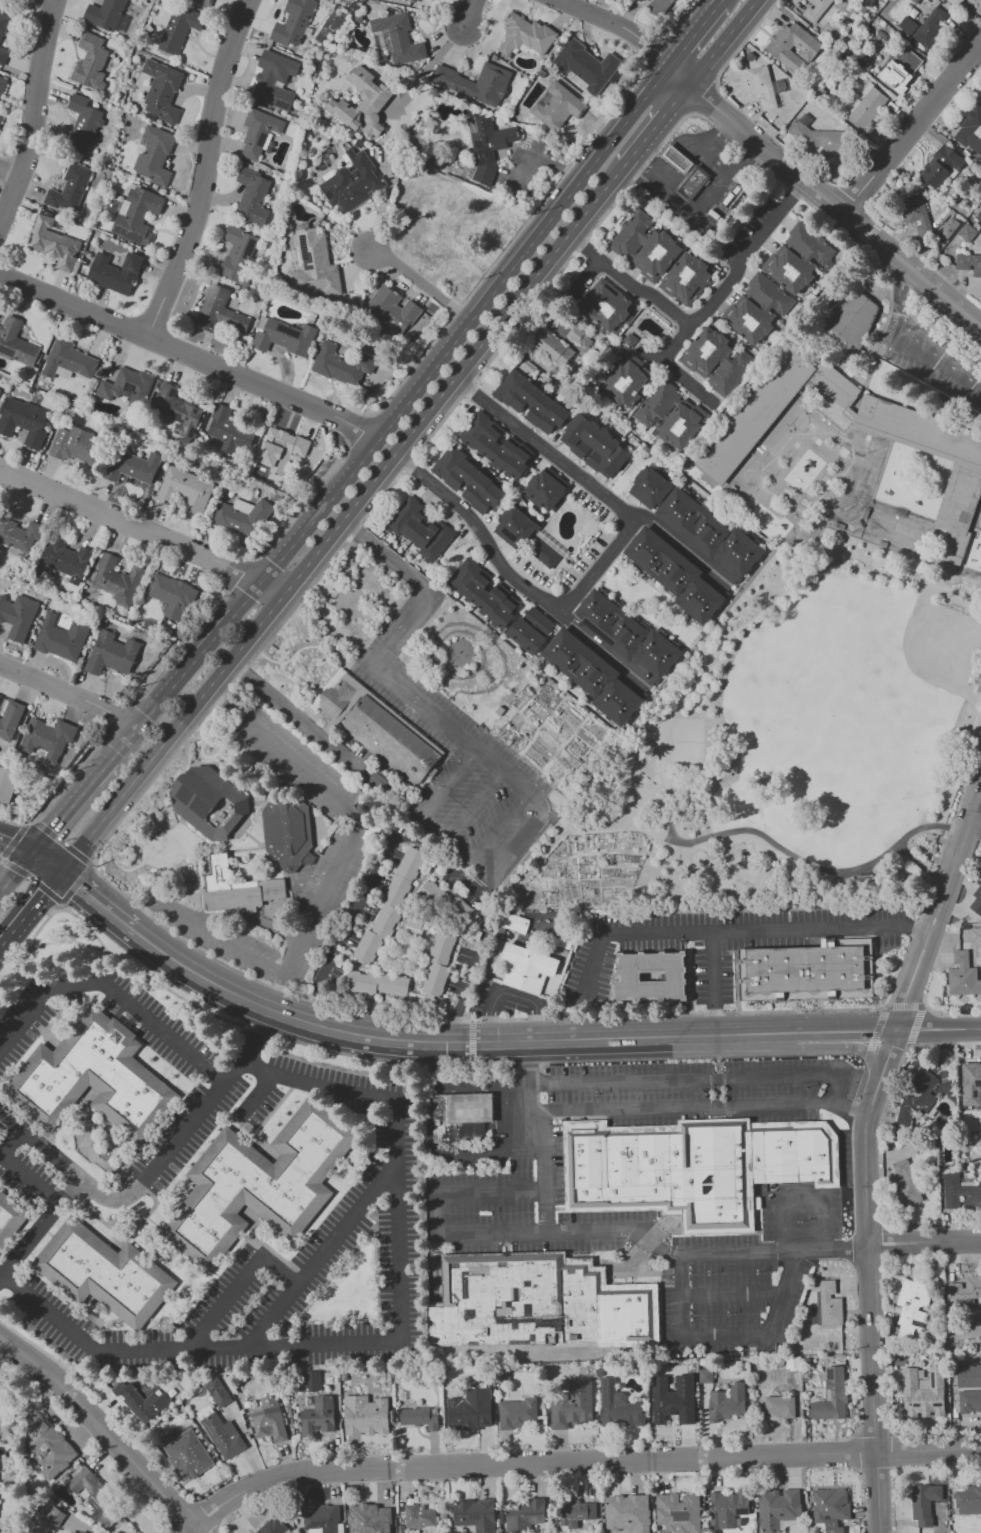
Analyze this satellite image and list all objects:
building: (970, 0)
building: (411, 1)
building: (204, 2)
building: (955, 2)
building: (660, 5)
building: (815, 9)
building: (104, 14)
road: (477, 16)
building: (3, 23)
building: (293, 23)
building: (907, 25)
building: (930, 28)
road: (630, 31)
road: (694, 31)
building: (525, 35)
building: (399, 37)
road: (722, 41)
road: (737, 46)
building: (792, 46)
building: (3, 55)
building: (90, 62)
building: (587, 65)
road: (427, 67)
building: (900, 69)
building: (274, 80)
building: (475, 82)
building: (2, 83)
building: (764, 86)
building: (161, 91)
building: (361, 103)
rooftop solar panel: (281, 104)
building: (557, 106)
road: (713, 106)
building: (866, 106)
building: (0, 120)
road: (657, 122)
building: (82, 123)
road: (25, 124)
rooftop solar panel: (486, 125)
rooftop solar panel: (472, 126)
building: (971, 131)
building: (258, 133)
rooftop solar panel: (261, 139)
rooftop solar panel: (510, 139)
building: (821, 140)
road: (919, 141)
rooftop solar panel: (477, 144)
building: (487, 144)
rooftop solar panel: (498, 144)
rooftop solar panel: (504, 145)
rooftop solar panel: (479, 152)
rooftop solar panel: (487, 153)
building: (154, 156)
building: (676, 159)
rooftop solar panel: (480, 161)
rooftop solar panel: (356, 162)
building: (940, 166)
road: (205, 169)
road: (6, 176)
building: (352, 182)
building: (691, 183)
building: (69, 189)
rooftop solar panel: (322, 189)
road: (570, 192)
rooftop solar panel: (329, 194)
rooftop solar panel: (342, 196)
building: (252, 197)
road: (835, 202)
rooftop solar panel: (341, 204)
building: (915, 213)
building: (137, 215)
rooftop solar panel: (116, 229)
rooftop solar panel: (122, 230)
rooftop solar panel: (131, 237)
building: (53, 243)
rooftop solar panel: (251, 244)
rooftop solar panel: (302, 245)
building: (644, 246)
building: (238, 253)
rooftop solar panel: (134, 256)
building: (797, 258)
rooftop solar panel: (125, 260)
rooftop solar panel: (305, 262)
building: (969, 263)
rooftop solar panel: (139, 264)
building: (313, 264)
rooftop solar panel: (130, 268)
road: (736, 268)
building: (114, 272)
road: (591, 276)
building: (686, 279)
road: (630, 281)
road: (423, 284)
building: (606, 305)
building: (392, 308)
building: (756, 308)
building: (219, 312)
building: (849, 321)
rooftop solar panel: (288, 330)
building: (282, 336)
road: (914, 339)
building: (16, 342)
building: (552, 347)
road: (186, 350)
parking lot: (933, 356)
building: (68, 359)
building: (716, 361)
building: (341, 364)
road: (454, 376)
road: (424, 378)
road: (692, 380)
building: (627, 381)
building: (125, 384)
building: (530, 401)
building: (177, 410)
building: (671, 415)
building: (23, 421)
building: (229, 430)
building: (75, 445)
building: (495, 445)
building: (594, 446)
building: (280, 449)
building: (956, 455)
building: (131, 466)
building: (467, 479)
building: (650, 488)
building: (184, 489)
building: (546, 489)
road: (320, 508)
road: (130, 524)
building: (515, 526)
building: (420, 529)
building: (709, 533)
park: (911, 534)
building: (19, 535)
road: (683, 544)
building: (543, 552)
building: (65, 558)
road: (594, 568)
building: (675, 575)
building: (116, 580)
road: (417, 581)
road: (273, 585)
building: (484, 592)
building: (171, 596)
building: (17, 616)
road: (754, 617)
road: (223, 624)
building: (530, 631)
building: (626, 634)
building: (61, 638)
road: (603, 649)
park: (918, 652)
building: (111, 653)
building: (592, 676)
road: (69, 693)
building: (0, 695)
road: (162, 695)
road: (435, 717)
building: (10, 719)
building: (380, 727)
road: (174, 730)
road: (127, 737)
building: (47, 738)
road: (328, 738)
park: (799, 740)
park: (687, 742)
parking lot: (457, 768)
road: (450, 783)
building: (6, 785)
rooftop solar panel: (183, 794)
road: (74, 801)
building: (214, 805)
road: (477, 805)
rooftop solar panel: (198, 806)
road: (975, 813)
road: (29, 822)
road: (354, 823)
road: (502, 826)
road: (605, 826)
road: (438, 828)
building: (290, 833)
road: (13, 840)
road: (523, 841)
road: (15, 843)
road: (61, 843)
road: (422, 844)
traffic signals: (32, 851)
road: (1, 859)
road: (47, 860)
road: (1, 862)
parking lot: (340, 864)
road: (531, 867)
road: (811, 868)
road: (921, 868)
traffic signals: (62, 869)
road: (16, 870)
road: (33, 880)
road: (489, 881)
road: (75, 883)
building: (236, 889)
road: (97, 897)
building: (976, 897)
road: (58, 904)
building: (449, 905)
road: (31, 907)
building: (388, 908)
road: (248, 917)
building: (519, 922)
road: (922, 928)
road: (205, 930)
road: (723, 930)
building: (975, 935)
road: (65, 942)
building: (567, 943)
building: (438, 962)
road: (715, 967)
building: (532, 969)
building: (814, 973)
building: (962, 975)
building: (655, 979)
building: (376, 983)
road: (114, 993)
road: (508, 994)
road: (204, 1009)
road: (716, 1020)
road: (942, 1030)
road: (849, 1033)
road: (471, 1042)
road: (450, 1043)
building: (95, 1080)
road: (658, 1081)
building: (970, 1083)
road: (256, 1094)
building: (916, 1097)
road: (701, 1107)
building: (463, 1118)
building: (0, 1130)
road: (540, 1138)
road: (872, 1148)
road: (493, 1152)
road: (156, 1167)
building: (697, 1168)
road: (18, 1171)
building: (262, 1184)
building: (905, 1184)
road: (803, 1195)
building: (11, 1220)
road: (42, 1230)
road: (578, 1234)
road: (887, 1238)
road: (941, 1241)
road: (887, 1247)
road: (322, 1257)
building: (106, 1274)
road: (1, 1280)
road: (1, 1281)
road: (236, 1287)
building: (965, 1289)
road: (734, 1295)
rooftop solar panel: (917, 1297)
building: (829, 1303)
rooftop solar panel: (908, 1303)
building: (544, 1306)
building: (911, 1307)
rooftop solar panel: (915, 1324)
road: (731, 1336)
road: (394, 1346)
rooftop solar panel: (831, 1373)
building: (704, 1375)
building: (968, 1375)
building: (311, 1380)
rooftop solar panel: (604, 1385)
rooftop solar panel: (611, 1388)
building: (217, 1392)
building: (923, 1392)
building: (832, 1397)
rooftop solar panel: (604, 1400)
building: (143, 1401)
building: (969, 1401)
building: (730, 1402)
building: (572, 1405)
building: (617, 1405)
building: (780, 1405)
building: (671, 1409)
building: (518, 1414)
building: (319, 1415)
building: (367, 1415)
building: (465, 1416)
building: (415, 1417)
building: (268, 1418)
road: (105, 1431)
rooftop solar panel: (211, 1436)
building: (222, 1436)
rooftop solar panel: (30, 1439)
building: (47, 1443)
building: (188, 1455)
road: (579, 1461)
building: (968, 1500)
building: (100, 1503)
building: (924, 1503)
building: (831, 1505)
building: (728, 1508)
building: (779, 1509)
building: (577, 1510)
building: (628, 1512)
building: (679, 1513)
building: (475, 1515)
building: (526, 1515)
building: (54, 1516)
building: (419, 1516)
building: (323, 1519)
building: (373, 1520)
building: (272, 1526)
road: (189, 1529)
building: (71, 1532)

